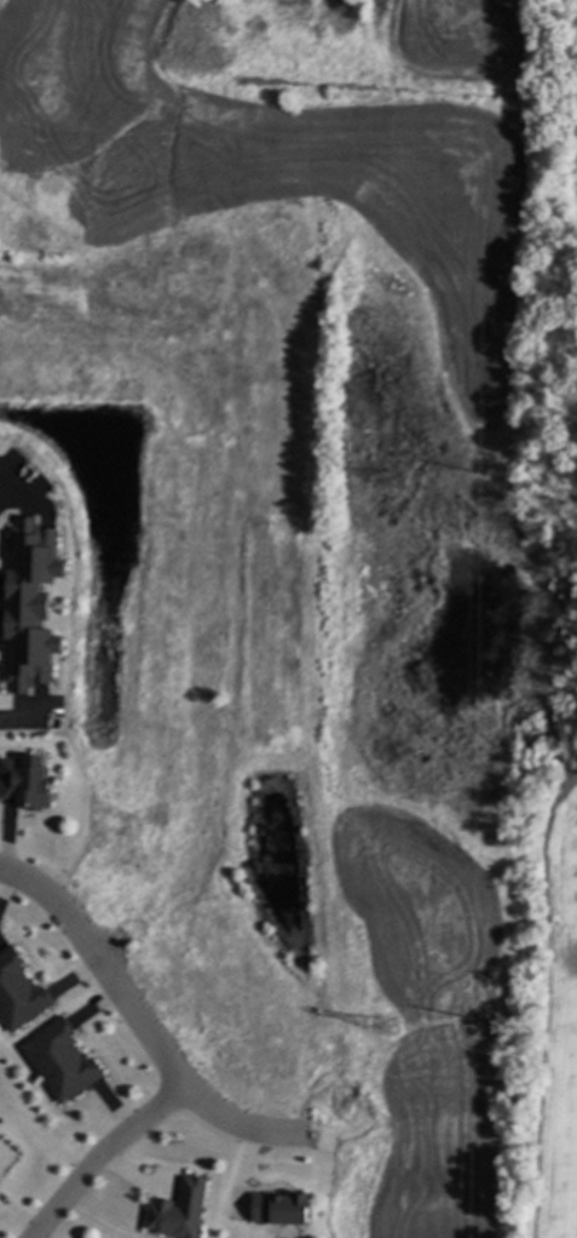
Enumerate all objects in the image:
power tower: (396, 471)
road: (5, 491)
building: (31, 603)
power tower: (393, 684)
building: (27, 781)
building: (19, 991)
crop: (550, 1018)
power tower: (388, 1026)
road: (155, 1041)
building: (63, 1060)
road: (108, 1157)
building: (0, 1183)
building: (276, 1209)
building: (175, 1211)

